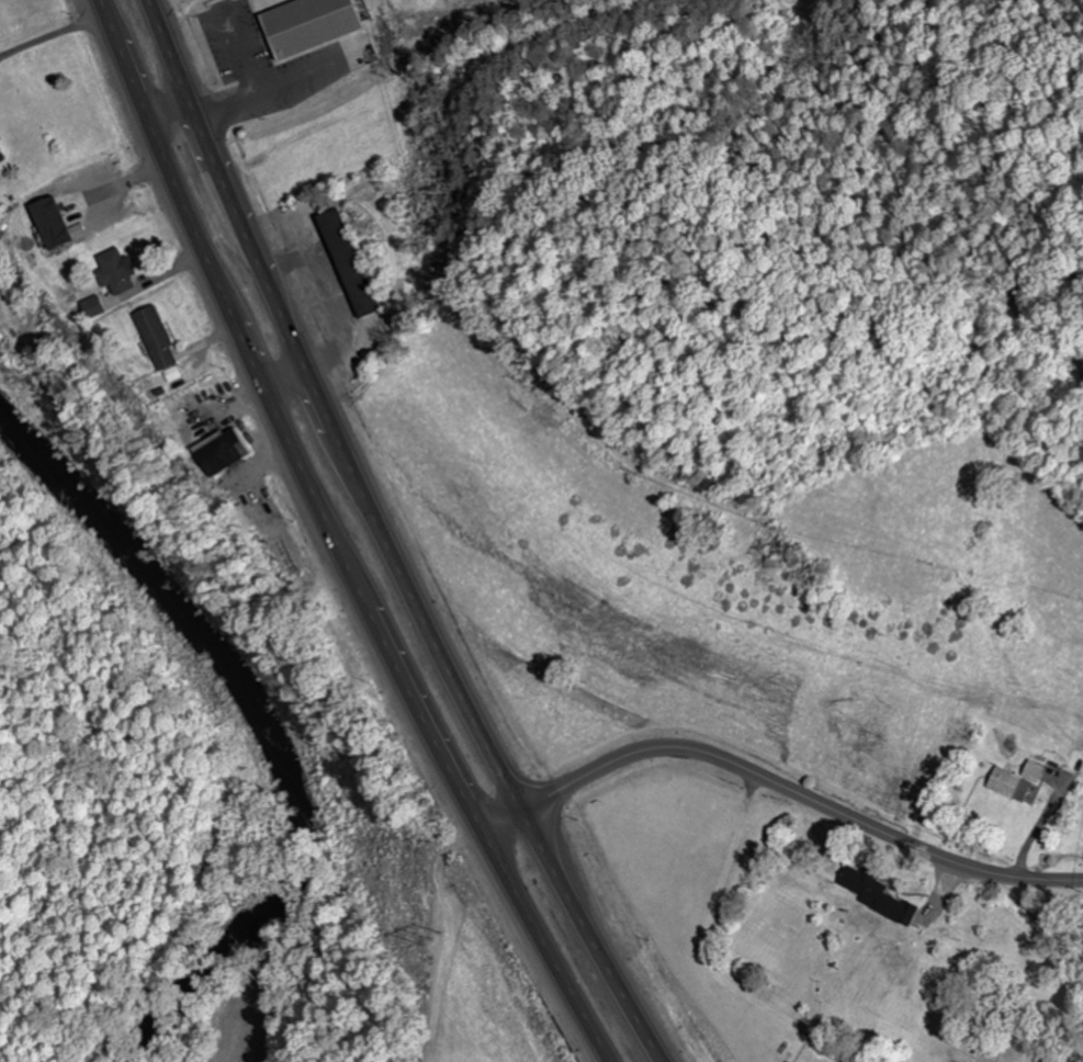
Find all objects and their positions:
building: (318, 25)
building: (63, 225)
building: (122, 273)
building: (100, 308)
building: (166, 346)
road: (328, 410)
road: (278, 423)
building: (233, 454)
building: (1038, 772)
road: (777, 783)
building: (1015, 786)
building: (883, 897)
road: (594, 937)
road: (541, 950)

